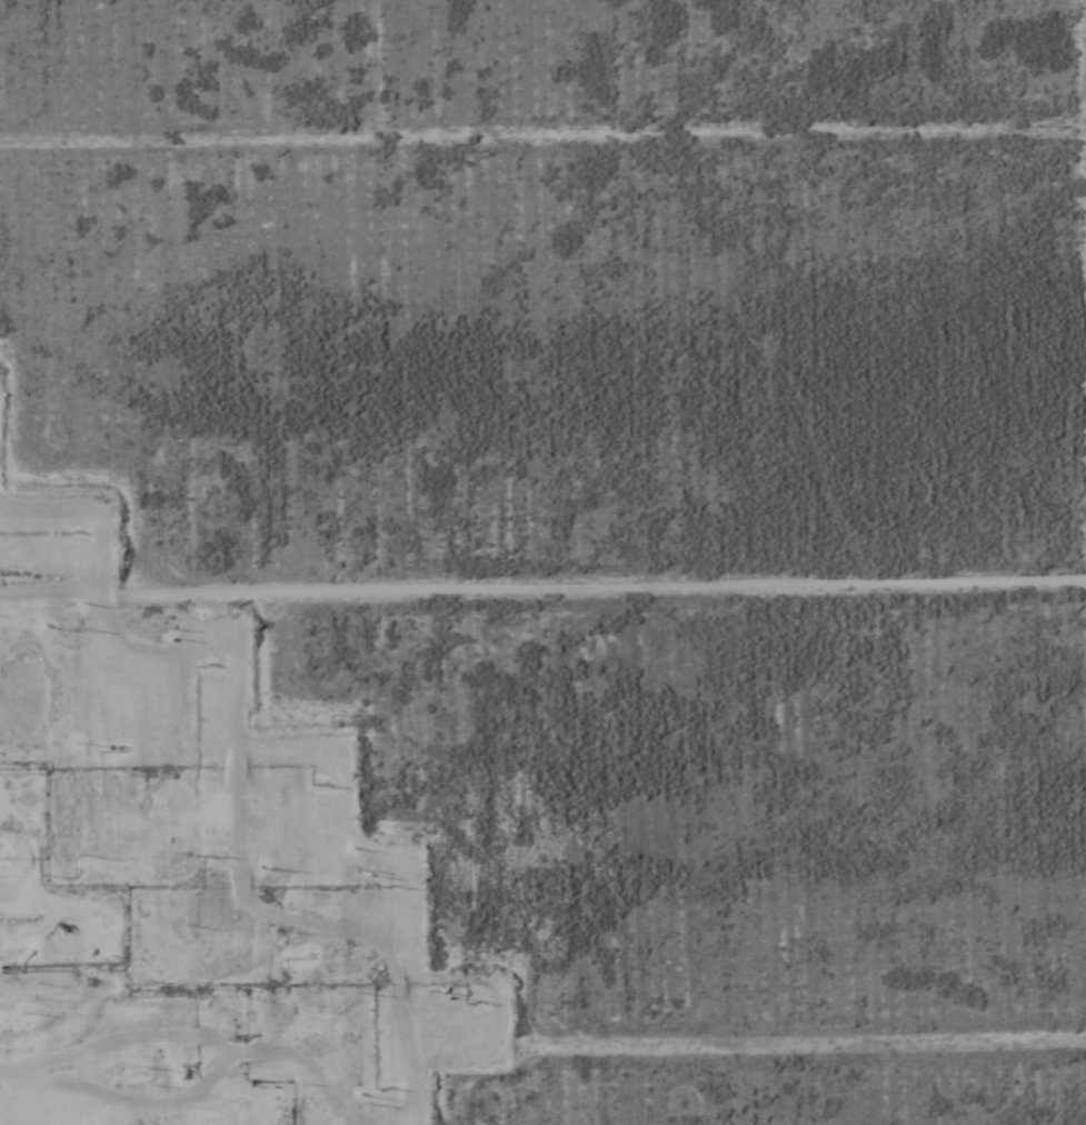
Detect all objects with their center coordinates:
road: (90, 1066)

